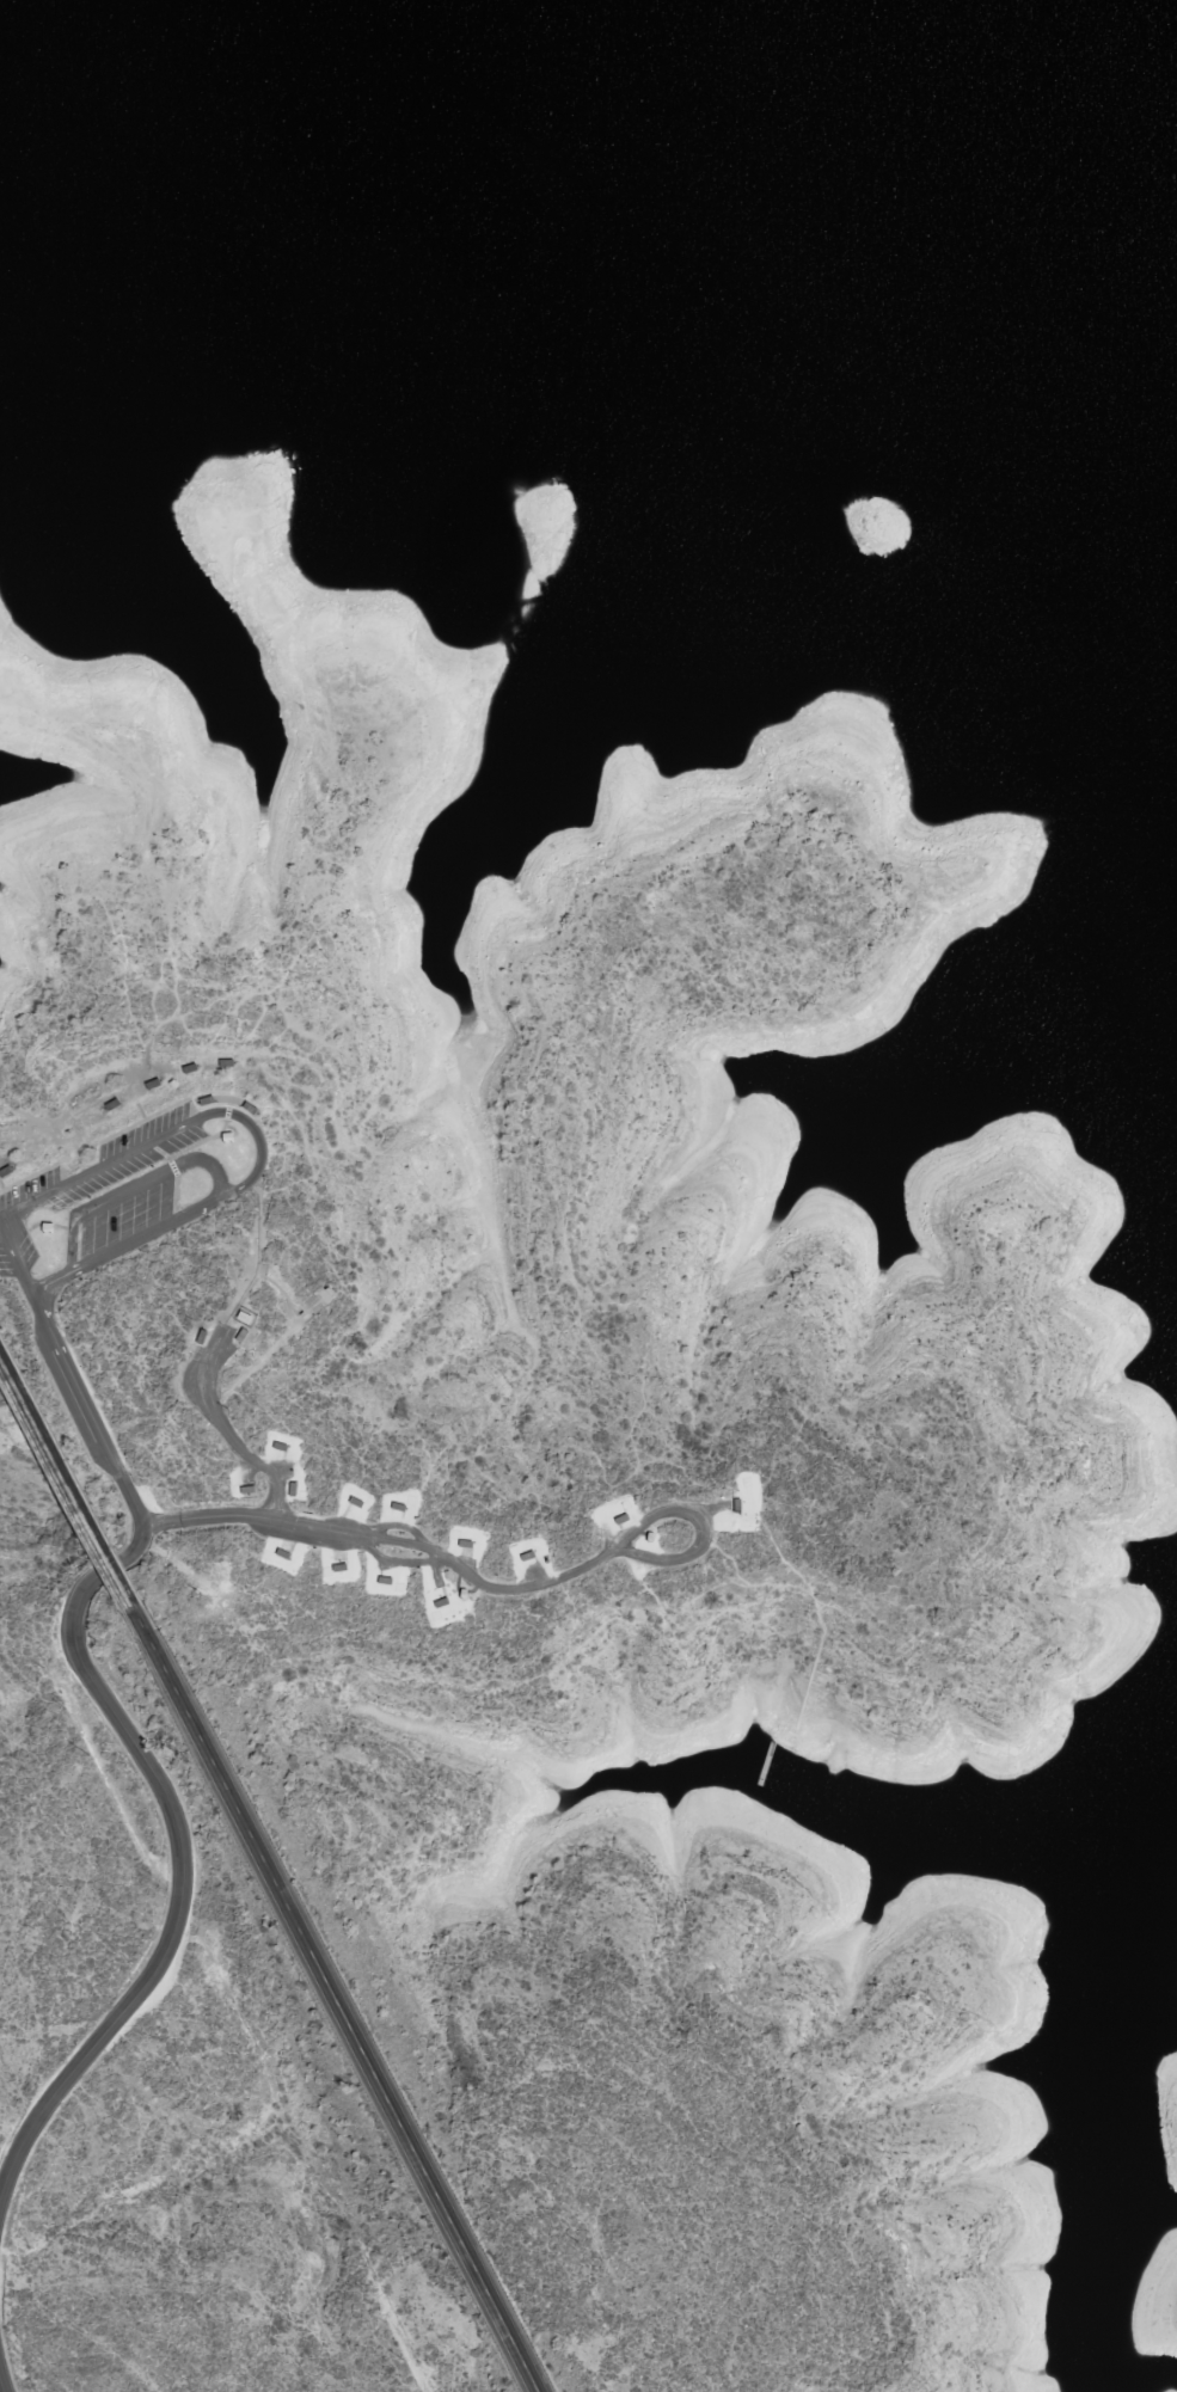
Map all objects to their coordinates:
road: (134, 1186)
road: (76, 1270)
park: (559, 1344)
road: (88, 1409)
road: (223, 1424)
road: (67, 1471)
road: (484, 1582)
road: (182, 1859)
road: (331, 2002)
road: (2, 2385)

